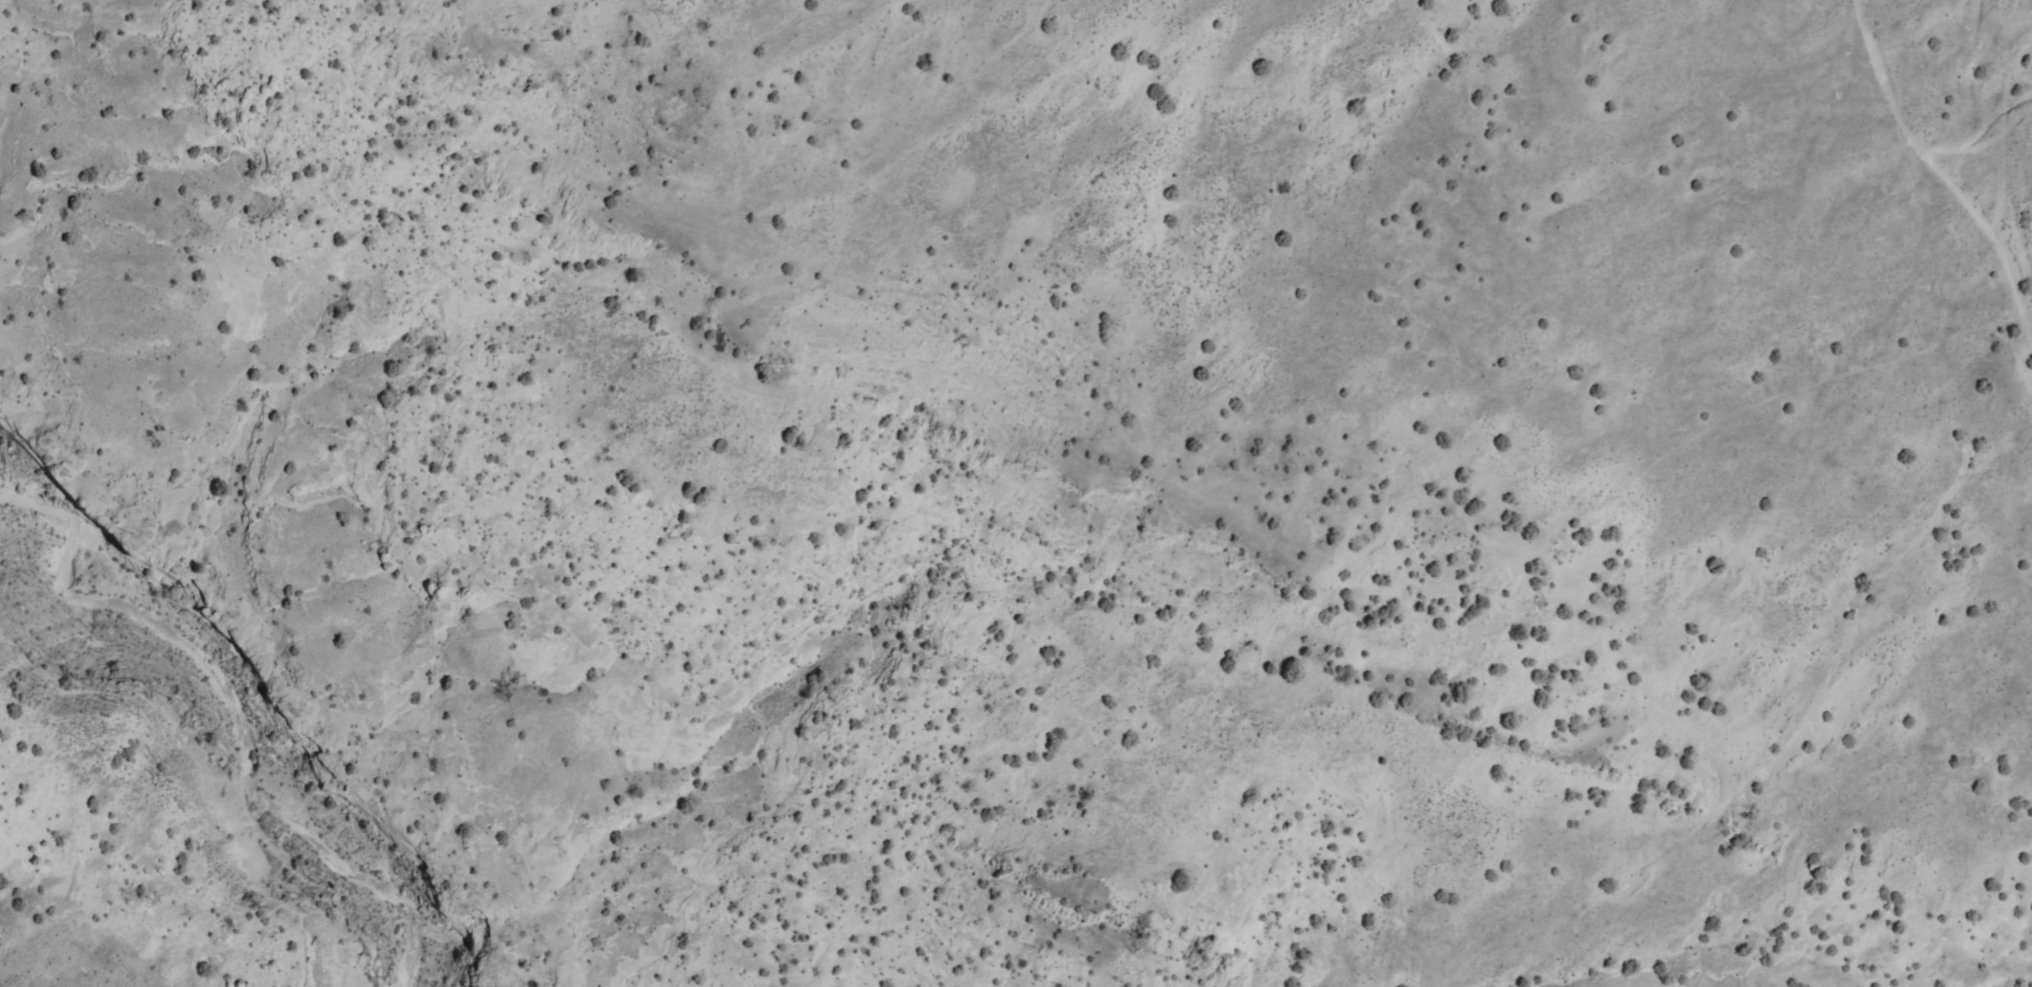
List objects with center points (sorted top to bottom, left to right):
road: (1955, 151)

